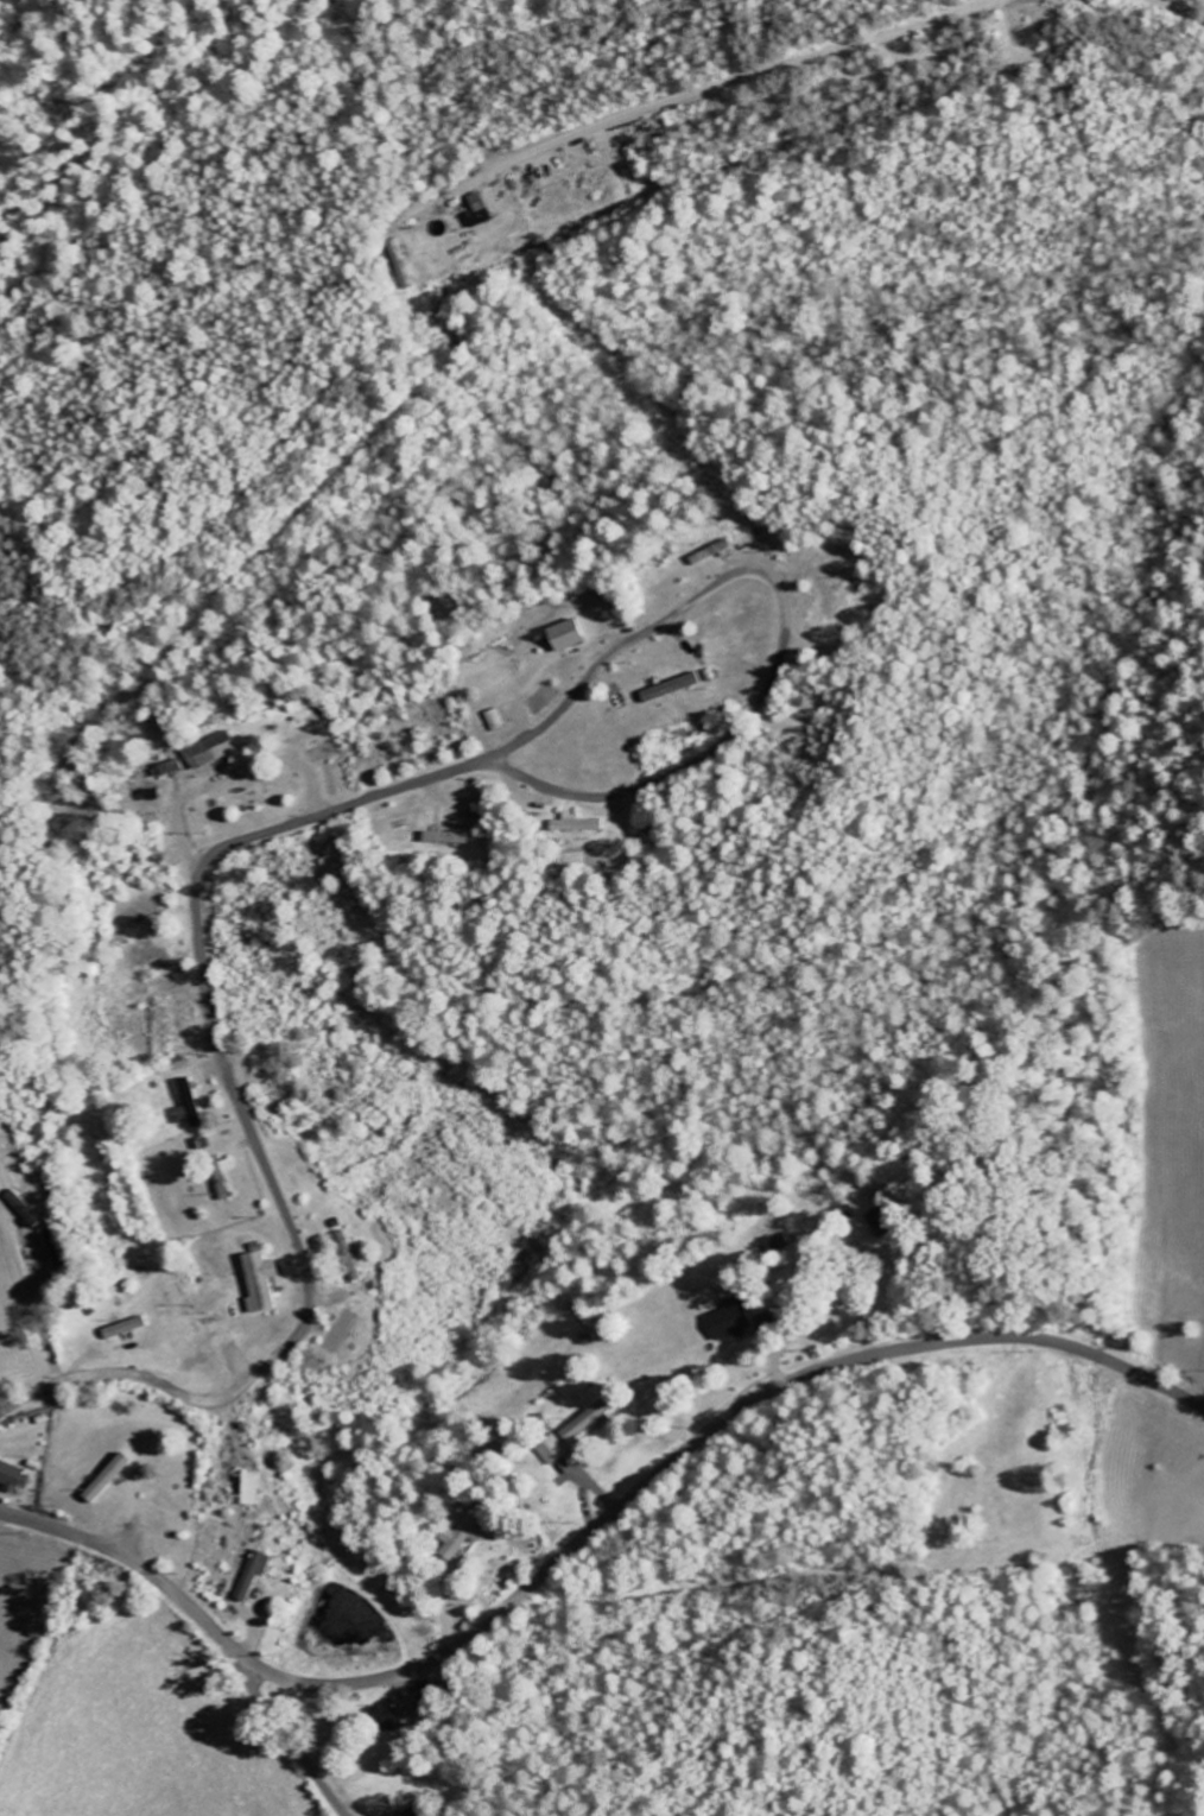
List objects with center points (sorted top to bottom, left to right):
building: (476, 217)
road: (786, 602)
building: (562, 635)
building: (680, 684)
building: (492, 720)
building: (575, 824)
building: (442, 837)
building: (186, 1105)
road: (246, 1121)
building: (218, 1177)
building: (347, 1255)
building: (256, 1283)
building: (728, 1321)
building: (582, 1424)
building: (551, 1450)
building: (103, 1479)
building: (9, 1480)
building: (246, 1489)
road: (589, 1535)
building: (460, 1536)
building: (251, 1575)
road: (281, 1727)

